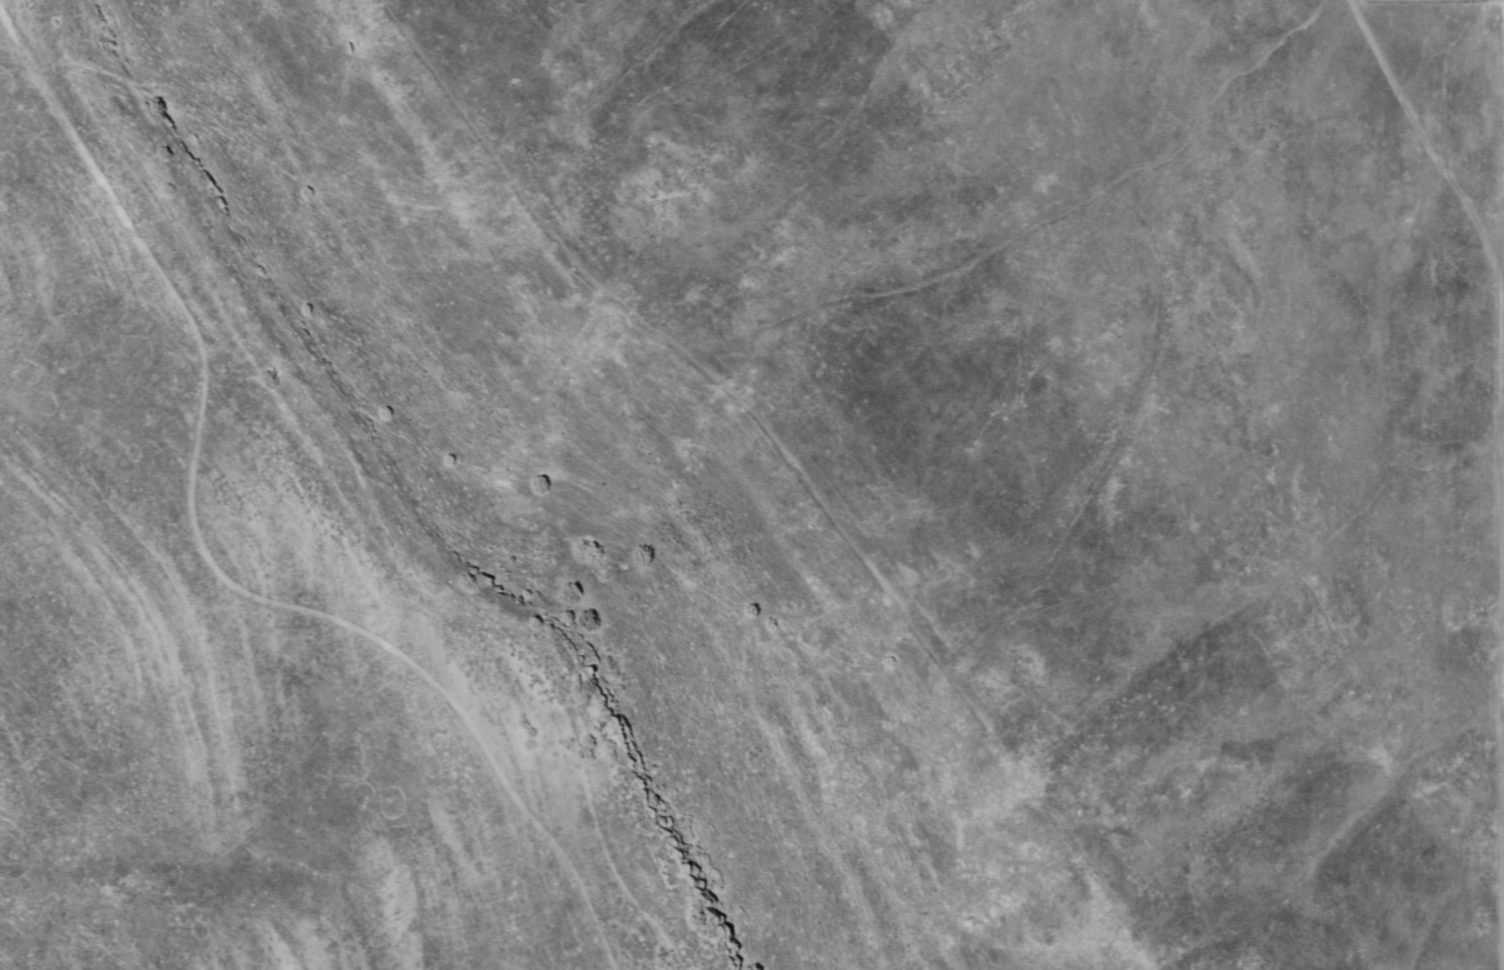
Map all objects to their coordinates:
road: (1503, 963)

